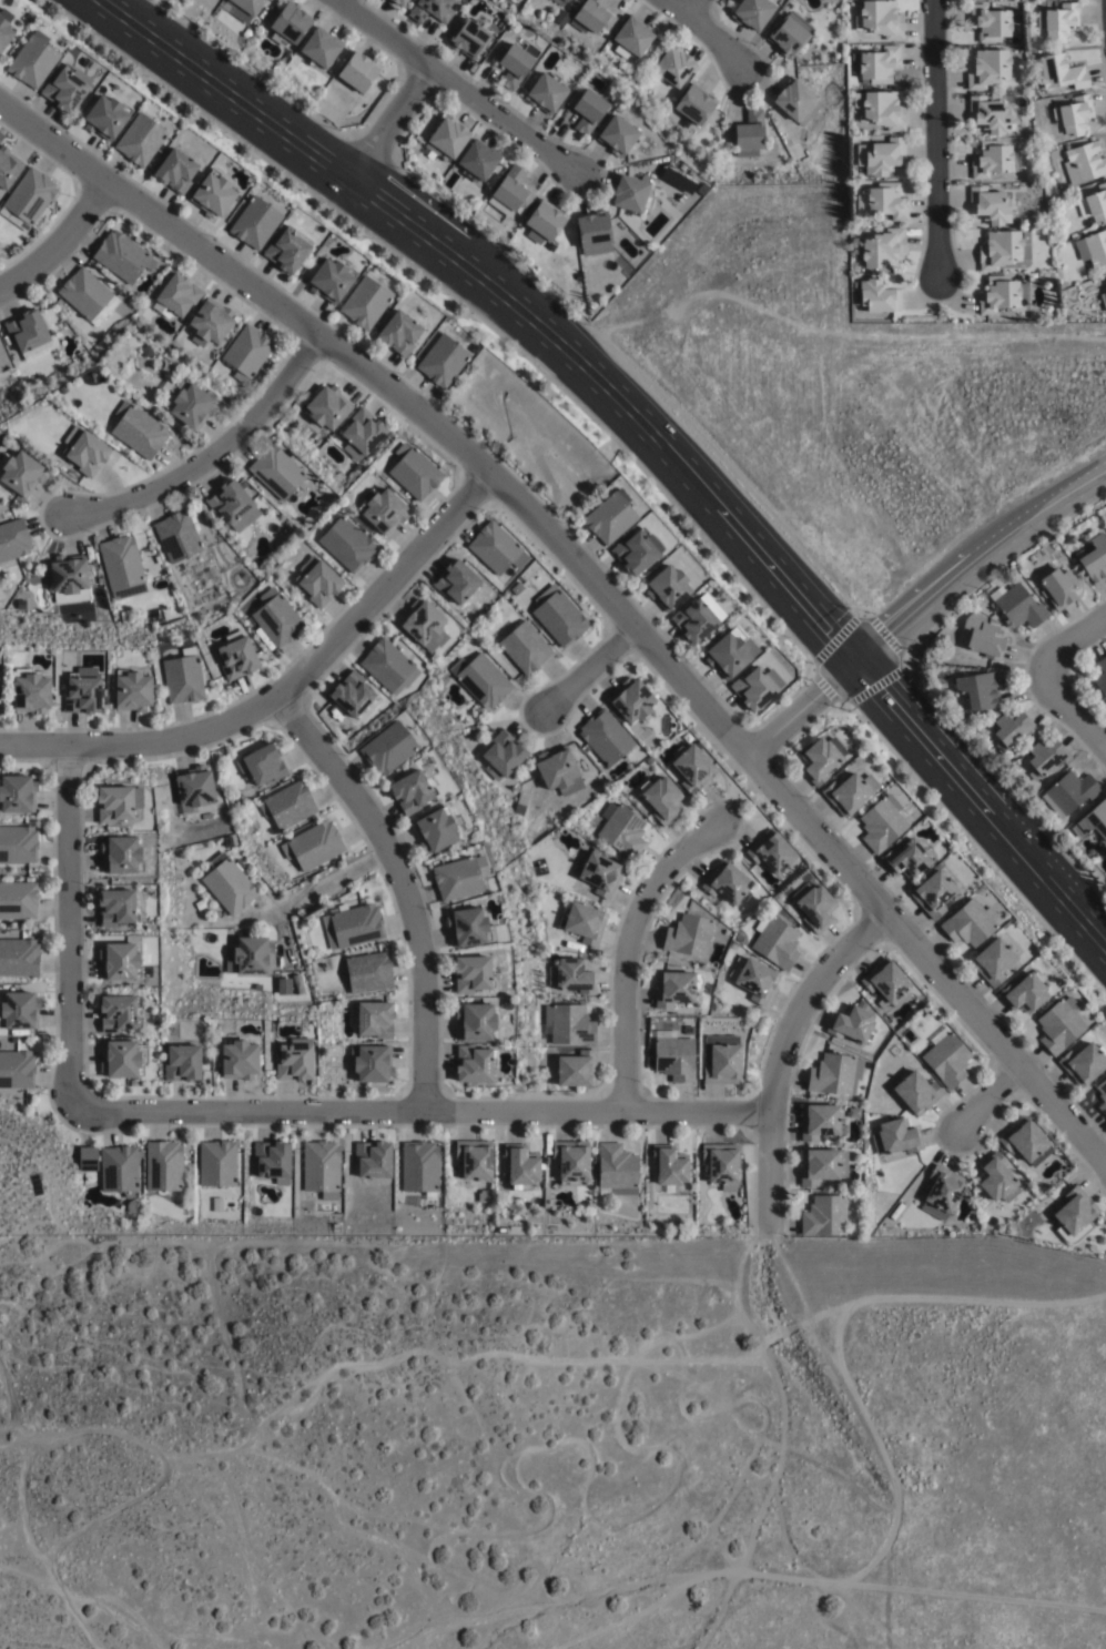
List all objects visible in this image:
building: (561, 2)
building: (399, 3)
building: (243, 8)
road: (692, 8)
building: (430, 10)
building: (752, 14)
building: (561, 18)
building: (592, 18)
building: (28, 19)
building: (881, 20)
building: (1057, 22)
building: (988, 23)
building: (290, 26)
building: (4, 29)
road: (706, 31)
building: (790, 36)
building: (635, 38)
building: (468, 40)
building: (321, 50)
building: (33, 61)
building: (514, 64)
building: (877, 65)
building: (674, 68)
building: (986, 70)
building: (358, 73)
building: (1058, 73)
road: (457, 84)
building: (64, 92)
building: (546, 95)
building: (795, 103)
building: (697, 108)
building: (587, 111)
building: (881, 111)
building: (987, 117)
building: (1073, 117)
building: (106, 119)
road: (390, 124)
building: (748, 135)
building: (619, 138)
road: (934, 138)
building: (141, 141)
building: (447, 142)
building: (881, 158)
building: (993, 161)
building: (1086, 162)
building: (478, 163)
building: (8, 171)
building: (176, 173)
building: (678, 179)
building: (212, 191)
building: (513, 191)
building: (631, 198)
building: (29, 202)
building: (884, 204)
building: (1094, 206)
building: (987, 208)
building: (255, 220)
building: (545, 225)
building: (595, 236)
road: (59, 241)
building: (285, 246)
building: (1093, 250)
building: (881, 251)
building: (1002, 252)
building: (121, 254)
building: (329, 276)
building: (1105, 280)
building: (1105, 285)
building: (176, 292)
building: (88, 293)
building: (1001, 296)
building: (366, 297)
road: (505, 300)
building: (876, 300)
building: (1104, 301)
building: (210, 320)
building: (398, 330)
building: (29, 333)
building: (475, 345)
building: (247, 350)
building: (3, 358)
building: (443, 358)
building: (190, 401)
building: (326, 405)
building: (139, 428)
building: (362, 431)
building: (85, 448)
road: (210, 457)
building: (275, 469)
building: (21, 471)
building: (414, 471)
building: (231, 502)
building: (383, 508)
building: (609, 515)
building: (176, 534)
building: (13, 538)
building: (346, 542)
building: (496, 547)
building: (633, 549)
building: (1094, 557)
building: (121, 560)
road: (977, 565)
building: (70, 578)
building: (456, 578)
building: (317, 579)
building: (1056, 583)
road: (597, 586)
building: (667, 586)
building: (187, 588)
building: (1018, 606)
building: (106, 613)
building: (558, 614)
building: (124, 616)
building: (275, 617)
building: (693, 618)
building: (425, 624)
building: (984, 639)
road: (1072, 641)
building: (525, 646)
building: (730, 650)
building: (236, 655)
building: (388, 665)
traffic signals: (856, 666)
road: (589, 670)
building: (351, 674)
building: (1100, 676)
building: (182, 678)
building: (481, 679)
building: (755, 686)
building: (132, 689)
building: (977, 689)
building: (31, 691)
road: (284, 691)
building: (82, 692)
building: (351, 696)
building: (632, 699)
road: (802, 711)
road: (1073, 714)
building: (1012, 727)
building: (471, 729)
building: (603, 736)
building: (387, 747)
building: (503, 756)
building: (1044, 757)
building: (816, 759)
building: (261, 763)
building: (691, 766)
building: (558, 771)
building: (193, 787)
building: (412, 791)
building: (848, 791)
building: (1068, 791)
building: (17, 792)
building: (660, 798)
building: (118, 802)
road: (981, 803)
building: (287, 805)
building: (914, 813)
building: (1093, 821)
building: (880, 822)
building: (435, 829)
building: (621, 829)
building: (469, 834)
building: (18, 843)
building: (313, 844)
building: (771, 851)
building: (122, 854)
building: (904, 858)
building: (597, 872)
building: (457, 879)
road: (326, 882)
building: (727, 882)
building: (227, 883)
road: (403, 886)
building: (932, 892)
building: (18, 900)
building: (201, 903)
building: (116, 907)
building: (814, 907)
building: (582, 922)
building: (968, 923)
building: (353, 925)
building: (469, 927)
road: (69, 929)
building: (688, 935)
building: (775, 942)
road: (626, 953)
building: (248, 955)
building: (19, 957)
building: (992, 960)
building: (120, 962)
building: (368, 972)
building: (473, 974)
building: (571, 977)
building: (755, 980)
building: (886, 982)
building: (674, 988)
building: (1023, 992)
building: (19, 1011)
building: (118, 1013)
building: (373, 1019)
building: (475, 1022)
building: (567, 1024)
building: (852, 1024)
building: (1058, 1024)
building: (687, 1030)
road: (780, 1053)
building: (673, 1056)
building: (946, 1058)
building: (123, 1059)
building: (239, 1060)
building: (294, 1060)
building: (720, 1060)
building: (181, 1063)
building: (371, 1063)
building: (1083, 1063)
building: (474, 1064)
building: (17, 1069)
building: (576, 1070)
building: (831, 1074)
building: (916, 1093)
building: (1102, 1096)
road: (986, 1100)
road: (419, 1111)
building: (853, 1112)
building: (819, 1122)
building: (896, 1139)
building: (1024, 1143)
building: (88, 1160)
building: (475, 1160)
building: (373, 1161)
building: (272, 1162)
building: (216, 1164)
building: (572, 1164)
building: (721, 1165)
building: (164, 1166)
building: (419, 1166)
building: (668, 1166)
building: (822, 1166)
building: (520, 1167)
building: (321, 1169)
building: (618, 1170)
building: (120, 1171)
building: (995, 1180)
building: (942, 1192)
building: (484, 1196)
building: (216, 1205)
building: (824, 1217)
building: (1074, 1217)

